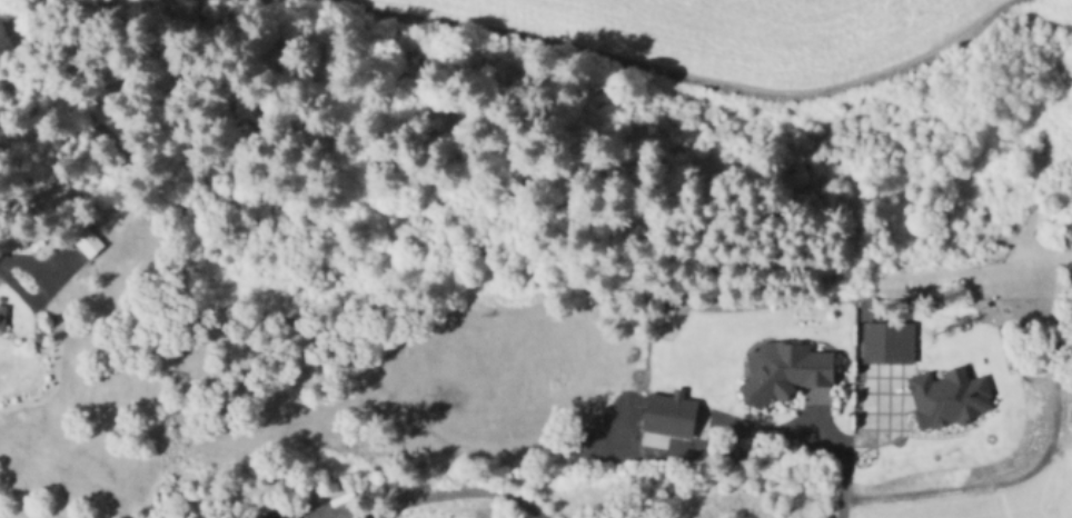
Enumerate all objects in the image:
building: (1070, 185)
building: (89, 241)
road: (1, 266)
building: (2, 319)
building: (890, 340)
building: (786, 369)
building: (946, 390)
road: (341, 407)
building: (671, 411)
road: (821, 424)
road: (847, 445)
road: (1005, 481)
road: (439, 492)
building: (275, 511)

